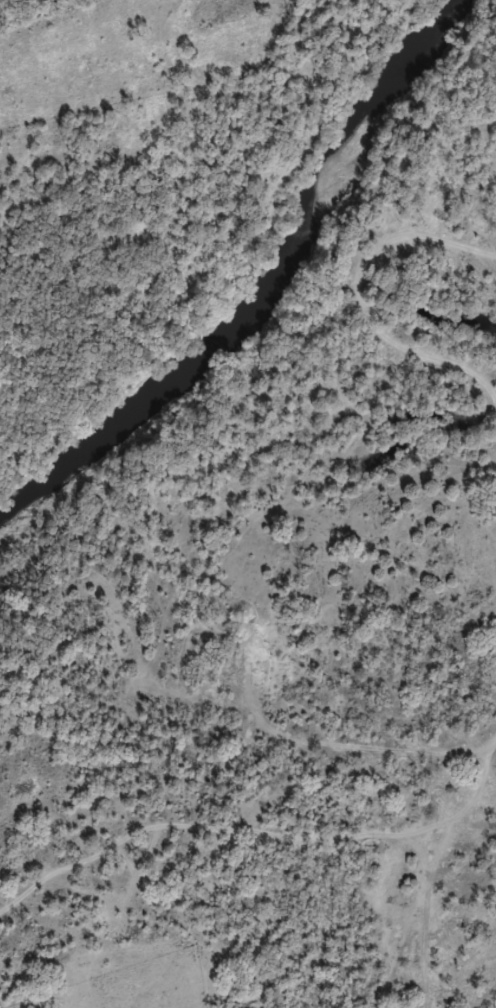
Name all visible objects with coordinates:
road: (140, 70)

